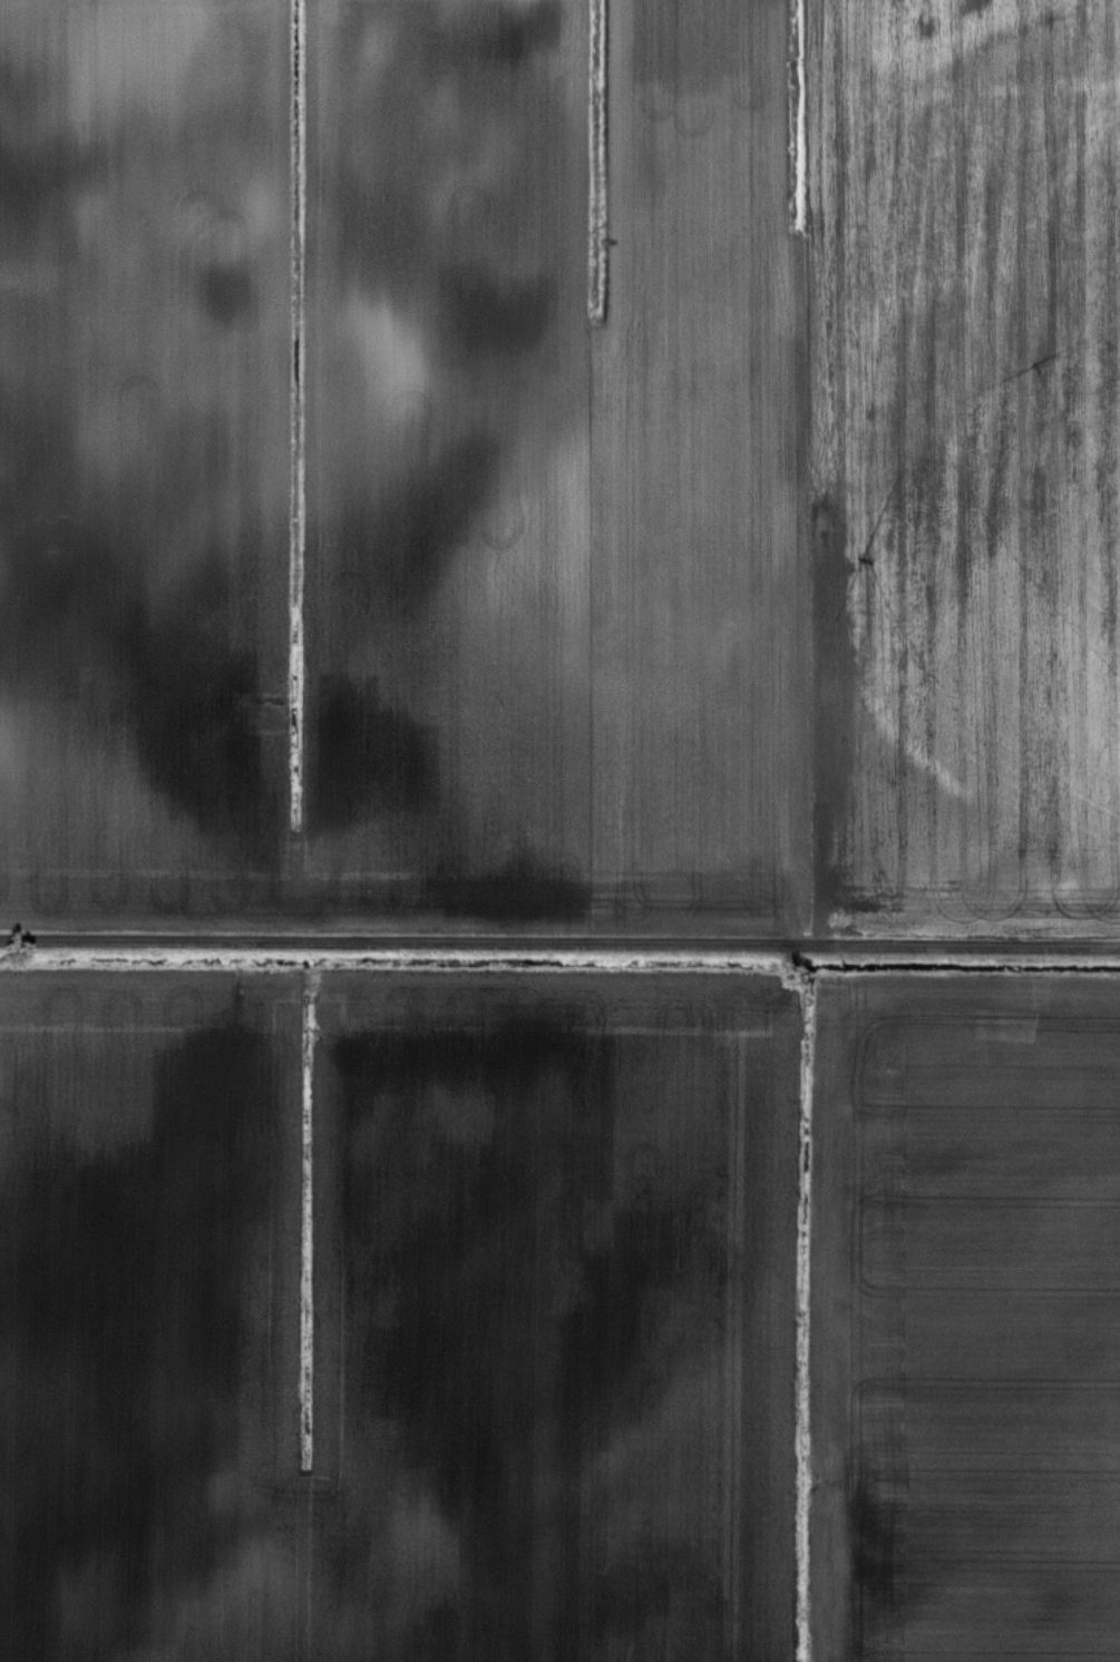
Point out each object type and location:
road: (792, 906)
road: (559, 941)

